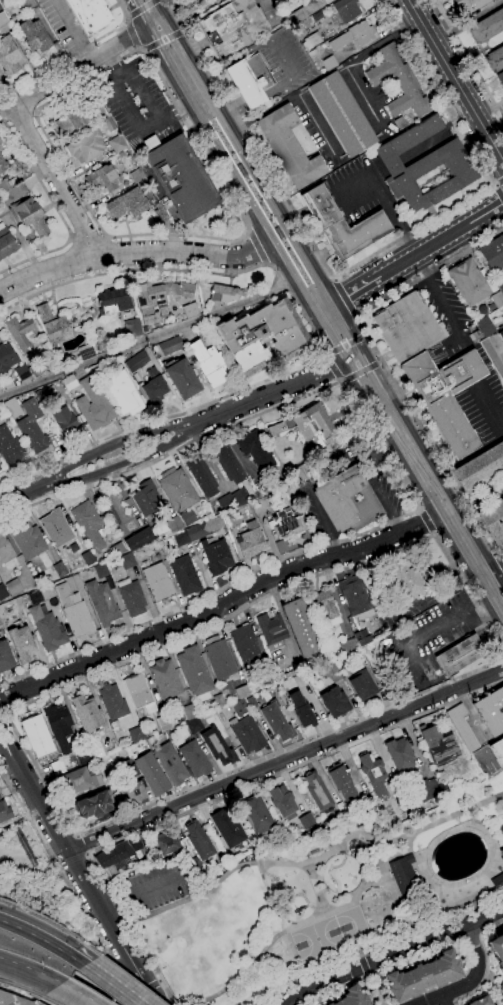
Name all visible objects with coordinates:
building: (201, 0)
building: (324, 0)
road: (160, 4)
building: (468, 5)
road: (142, 8)
building: (0, 9)
traffic signals: (163, 9)
building: (346, 9)
building: (89, 14)
road: (140, 14)
building: (300, 15)
road: (127, 18)
road: (156, 20)
road: (468, 22)
road: (125, 23)
building: (235, 26)
building: (488, 26)
road: (73, 30)
traffic signals: (149, 30)
road: (184, 31)
road: (131, 35)
building: (36, 36)
road: (174, 36)
building: (351, 37)
road: (165, 41)
road: (155, 45)
road: (137, 48)
road: (146, 51)
road: (75, 53)
building: (9, 56)
road: (282, 56)
road: (469, 57)
building: (495, 59)
building: (329, 63)
road: (349, 63)
road: (115, 64)
road: (447, 67)
road: (74, 69)
building: (500, 77)
building: (251, 81)
building: (398, 82)
road: (191, 84)
road: (8, 88)
road: (168, 91)
road: (175, 110)
road: (34, 112)
building: (340, 113)
road: (17, 115)
building: (72, 118)
railway: (212, 118)
road: (1, 119)
road: (161, 119)
building: (400, 122)
building: (109, 124)
building: (117, 144)
building: (1, 145)
building: (86, 146)
building: (288, 146)
road: (495, 147)
building: (3, 165)
building: (424, 165)
building: (241, 170)
building: (149, 174)
road: (262, 174)
building: (180, 178)
road: (55, 179)
building: (103, 179)
road: (497, 180)
road: (497, 193)
road: (244, 199)
building: (126, 204)
road: (265, 205)
road: (261, 207)
road: (56, 211)
building: (30, 215)
building: (342, 226)
road: (248, 232)
building: (278, 233)
road: (452, 234)
road: (103, 236)
road: (70, 238)
road: (86, 238)
building: (6, 244)
road: (257, 247)
road: (411, 248)
road: (105, 252)
road: (132, 252)
building: (493, 253)
road: (365, 259)
road: (265, 263)
road: (109, 269)
road: (335, 278)
building: (469, 281)
road: (369, 282)
building: (500, 284)
building: (224, 293)
road: (345, 295)
building: (158, 297)
railway: (326, 298)
building: (112, 299)
building: (497, 299)
traffic signals: (339, 302)
railway: (317, 308)
building: (189, 309)
building: (162, 311)
road: (327, 314)
road: (356, 314)
building: (51, 323)
building: (485, 326)
building: (131, 327)
building: (144, 329)
building: (407, 329)
building: (18, 331)
building: (501, 333)
road: (362, 334)
building: (261, 335)
road: (316, 338)
road: (146, 339)
traffic signals: (360, 340)
road: (342, 344)
building: (169, 345)
building: (84, 351)
road: (324, 353)
road: (354, 353)
building: (5, 357)
building: (135, 361)
building: (207, 362)
road: (379, 362)
road: (331, 365)
road: (383, 365)
traffic signals: (345, 366)
building: (36, 368)
building: (21, 371)
road: (361, 371)
building: (181, 378)
road: (338, 379)
flagpole: (403, 381)
building: (68, 382)
road: (344, 382)
building: (6, 385)
building: (153, 387)
building: (49, 389)
road: (477, 389)
building: (40, 393)
building: (122, 393)
road: (264, 397)
building: (445, 399)
building: (92, 404)
building: (1, 406)
building: (12, 407)
building: (63, 420)
road: (410, 424)
building: (32, 428)
building: (310, 428)
road: (113, 443)
building: (11, 448)
building: (254, 449)
road: (207, 458)
building: (227, 461)
railway: (419, 462)
road: (122, 464)
building: (481, 468)
building: (299, 472)
building: (201, 475)
road: (314, 481)
building: (176, 489)
road: (26, 491)
road: (380, 494)
building: (146, 497)
building: (231, 498)
road: (424, 498)
building: (348, 501)
building: (259, 503)
road: (29, 506)
road: (418, 509)
building: (241, 511)
road: (419, 511)
building: (187, 516)
road: (426, 521)
building: (493, 521)
building: (285, 522)
building: (173, 524)
building: (87, 525)
building: (55, 527)
building: (196, 531)
road: (434, 533)
building: (137, 538)
building: (27, 540)
building: (250, 540)
road: (481, 546)
building: (72, 547)
building: (5, 549)
building: (115, 549)
road: (493, 551)
building: (215, 556)
building: (87, 558)
road: (498, 559)
building: (127, 560)
road: (498, 564)
building: (58, 568)
building: (101, 570)
building: (184, 575)
building: (410, 576)
building: (109, 581)
building: (157, 582)
building: (13, 586)
building: (2, 592)
building: (40, 594)
building: (354, 595)
building: (130, 596)
road: (476, 601)
building: (101, 602)
building: (320, 605)
building: (73, 607)
road: (218, 607)
road: (282, 619)
building: (300, 627)
building: (47, 628)
building: (270, 628)
building: (361, 636)
building: (21, 643)
building: (245, 645)
building: (347, 647)
building: (458, 654)
building: (5, 657)
building: (217, 657)
building: (193, 672)
building: (331, 672)
building: (164, 678)
building: (361, 686)
building: (241, 691)
building: (138, 692)
building: (218, 700)
building: (112, 701)
building: (251, 702)
building: (334, 702)
building: (239, 707)
road: (1, 710)
building: (300, 710)
building: (188, 711)
building: (492, 711)
road: (1, 713)
road: (5, 713)
building: (86, 713)
road: (6, 714)
building: (276, 720)
building: (163, 722)
building: (193, 725)
building: (58, 726)
building: (462, 727)
building: (135, 734)
building: (246, 734)
building: (36, 735)
road: (6, 739)
building: (438, 744)
building: (216, 746)
building: (95, 748)
road: (5, 749)
building: (497, 751)
building: (82, 756)
building: (401, 756)
building: (194, 758)
road: (285, 760)
building: (170, 763)
building: (57, 767)
building: (129, 769)
building: (151, 773)
building: (374, 773)
building: (442, 775)
building: (80, 778)
road: (258, 782)
building: (342, 782)
building: (427, 790)
building: (317, 791)
building: (135, 792)
building: (0, 797)
building: (401, 798)
building: (283, 802)
building: (92, 805)
building: (5, 811)
building: (257, 815)
building: (307, 820)
building: (228, 827)
building: (282, 832)
road: (76, 835)
building: (199, 840)
building: (167, 842)
road: (81, 845)
road: (87, 854)
building: (117, 855)
road: (314, 859)
building: (404, 873)
road: (84, 880)
road: (67, 881)
building: (498, 882)
road: (321, 886)
parking lot: (159, 887)
road: (141, 895)
park: (313, 896)
road: (489, 925)
building: (502, 925)
road: (297, 926)
park: (351, 927)
road: (471, 938)
road: (43, 939)
park: (317, 940)
road: (379, 942)
building: (497, 950)
road: (359, 954)
road: (394, 954)
road: (152, 964)
road: (363, 965)
road: (382, 968)
road: (31, 969)
road: (484, 975)
building: (424, 976)
road: (161, 981)
road: (472, 981)
road: (111, 984)
road: (23, 987)
road: (150, 987)
road: (375, 989)
road: (139, 992)
road: (80, 993)
building: (353, 997)
building: (14, 999)
road: (128, 999)
road: (444, 1000)
road: (51, 1001)
building: (481, 1001)
road: (447, 1002)

